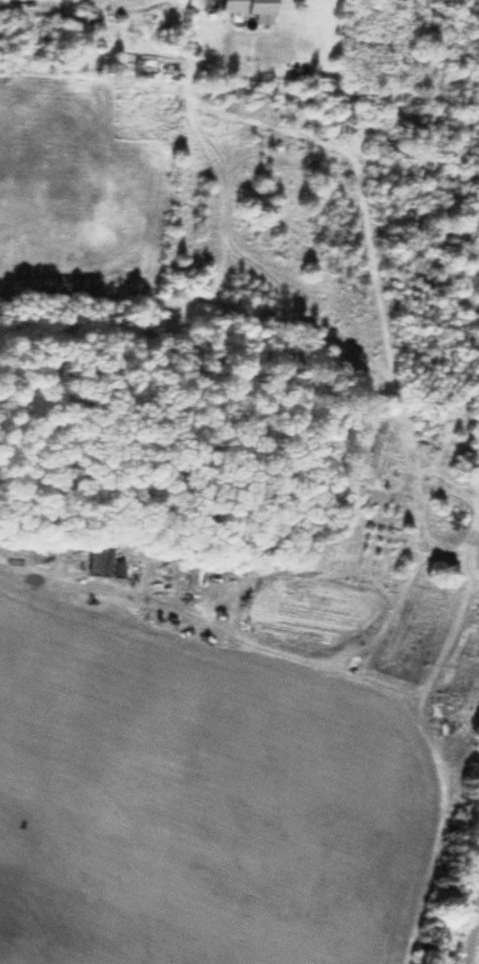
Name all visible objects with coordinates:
building: (247, 7)
building: (141, 64)
road: (471, 932)

